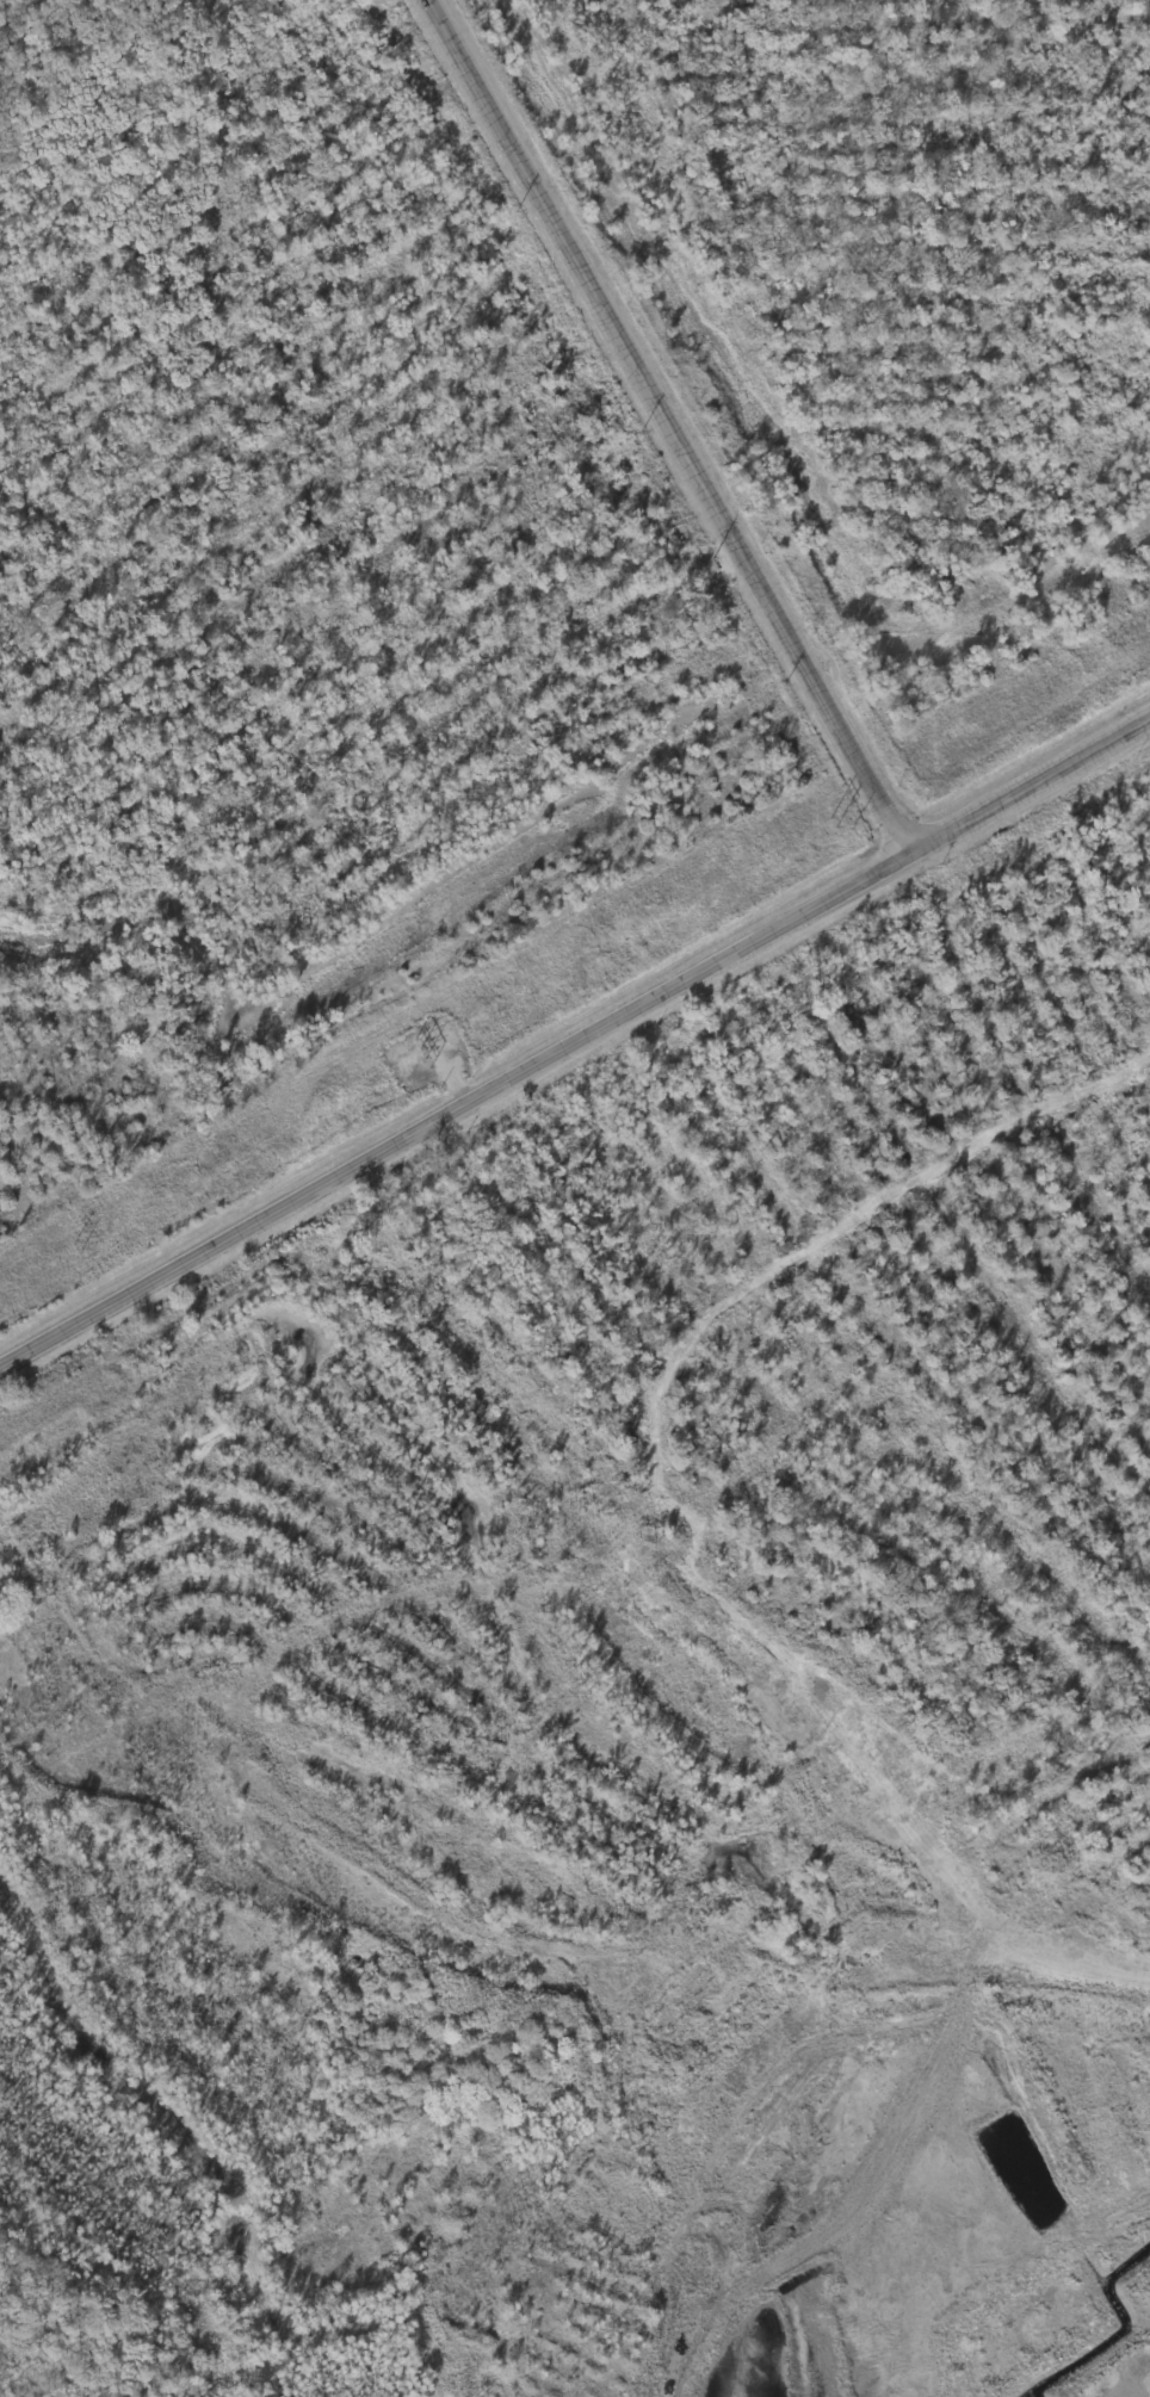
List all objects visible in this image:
crop: (880, 297)
road: (674, 426)
crop: (319, 588)
road: (1033, 787)
power tower: (837, 820)
power tower: (423, 1053)
road: (458, 1111)
power tower: (75, 1250)
road: (422, 1893)

